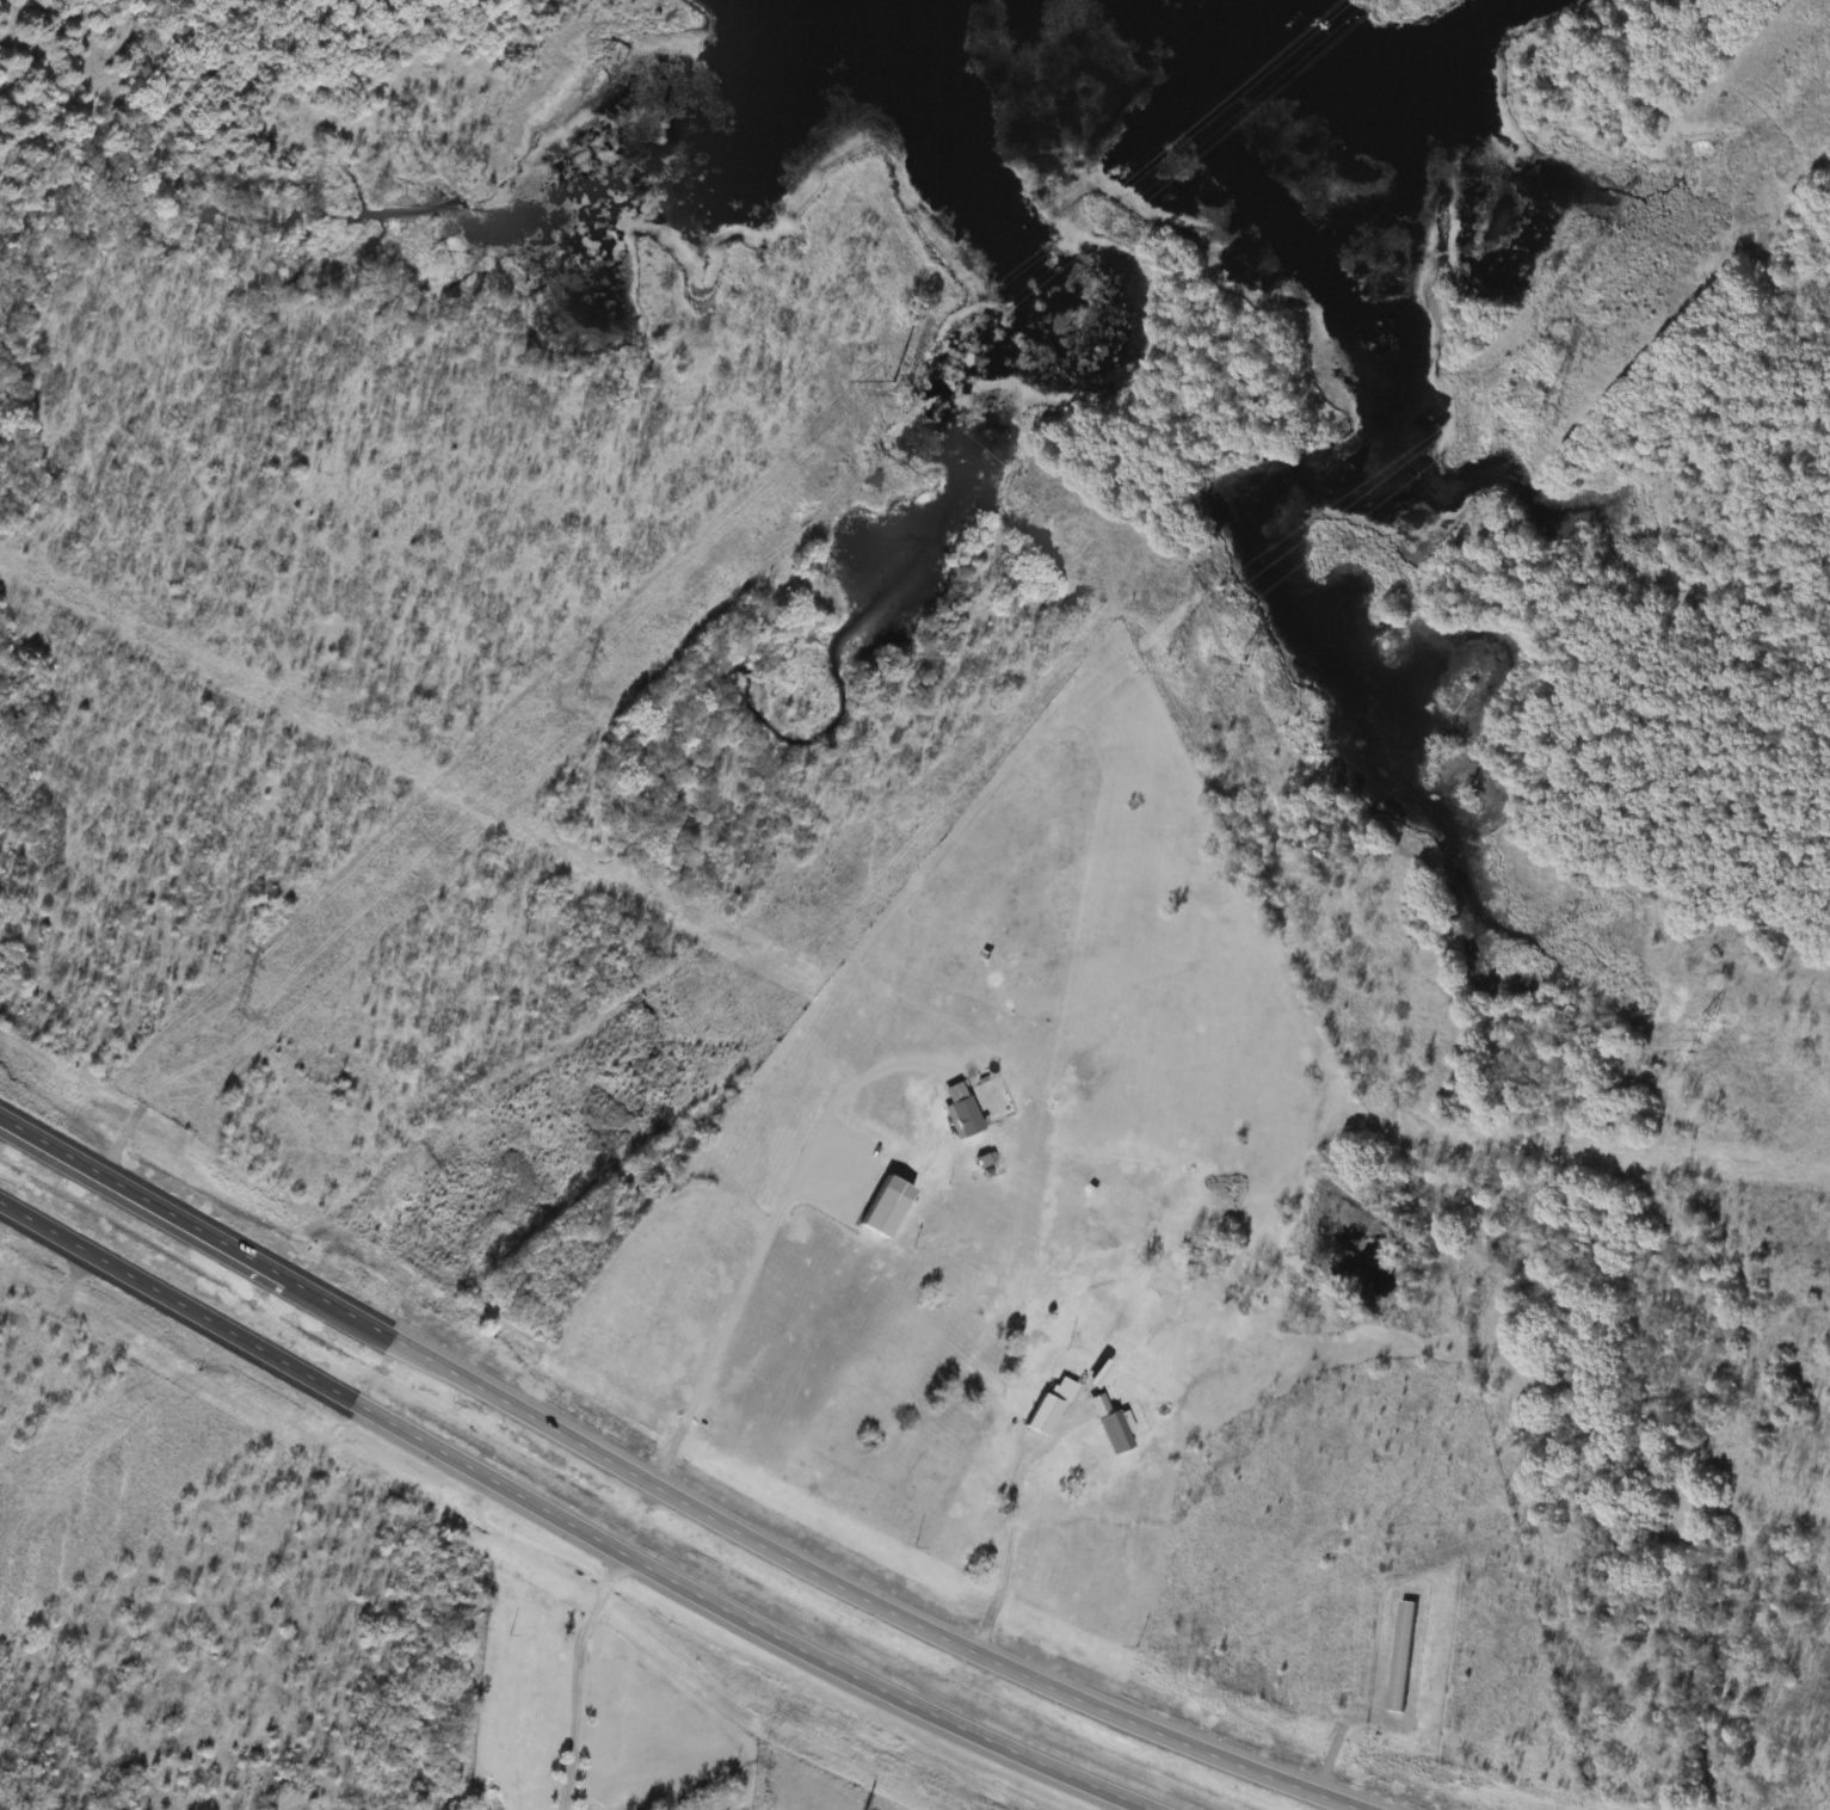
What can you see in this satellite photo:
power tower: (1381, 5)
power tower: (892, 394)
power tower: (1540, 419)
power tower: (1163, 666)
power tower: (1230, 670)
power tower: (567, 695)
power tower: (216, 1017)
power tower: (1694, 1034)
building: (960, 1116)
road: (144, 1189)
building: (880, 1206)
road: (766, 1236)
power tower: (402, 1239)
road: (142, 1275)
building: (1062, 1386)
building: (1109, 1432)
road: (1013, 1521)
road: (818, 1566)
road: (709, 1594)
building: (1398, 1656)
road: (579, 1674)

